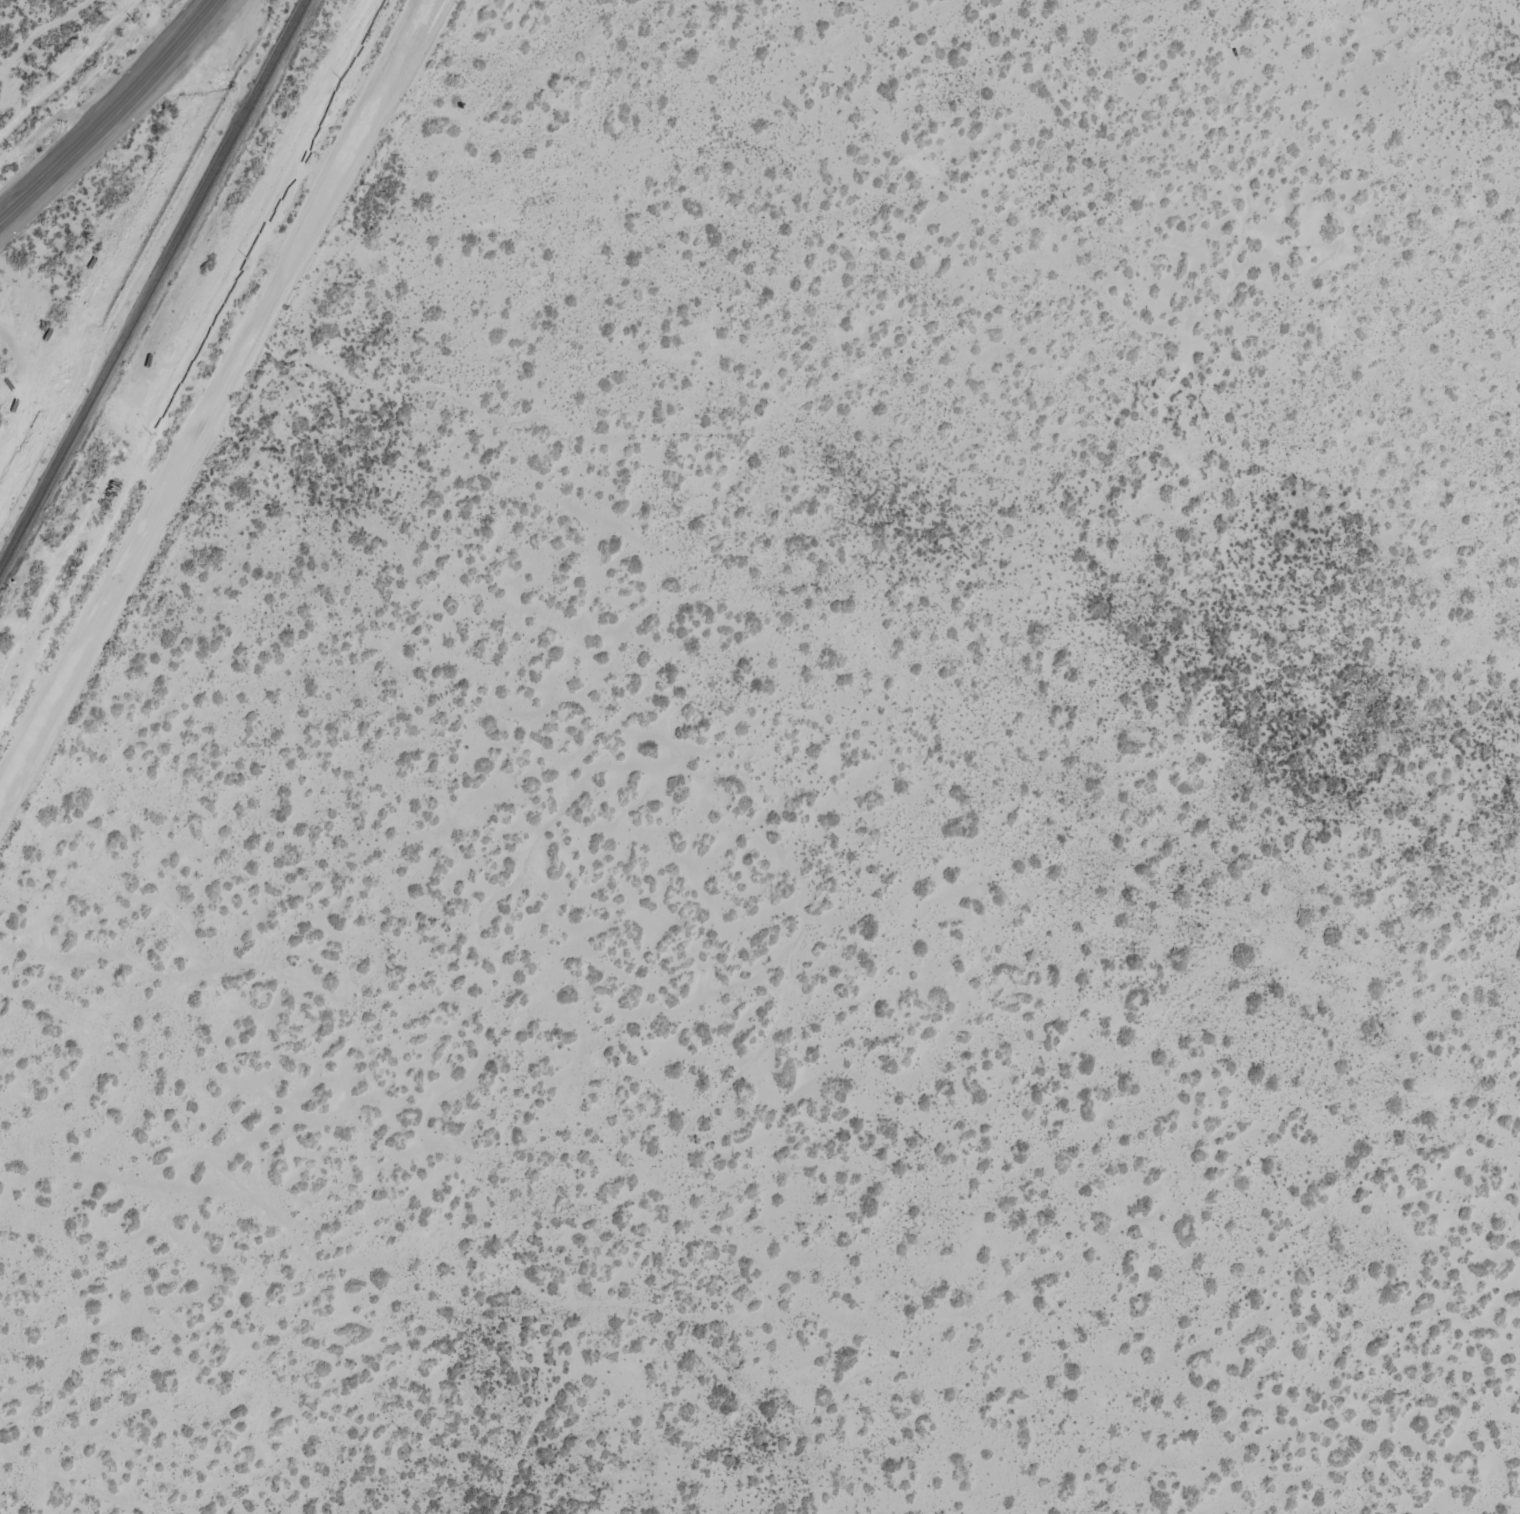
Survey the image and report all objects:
road: (114, 116)
railway: (154, 284)

